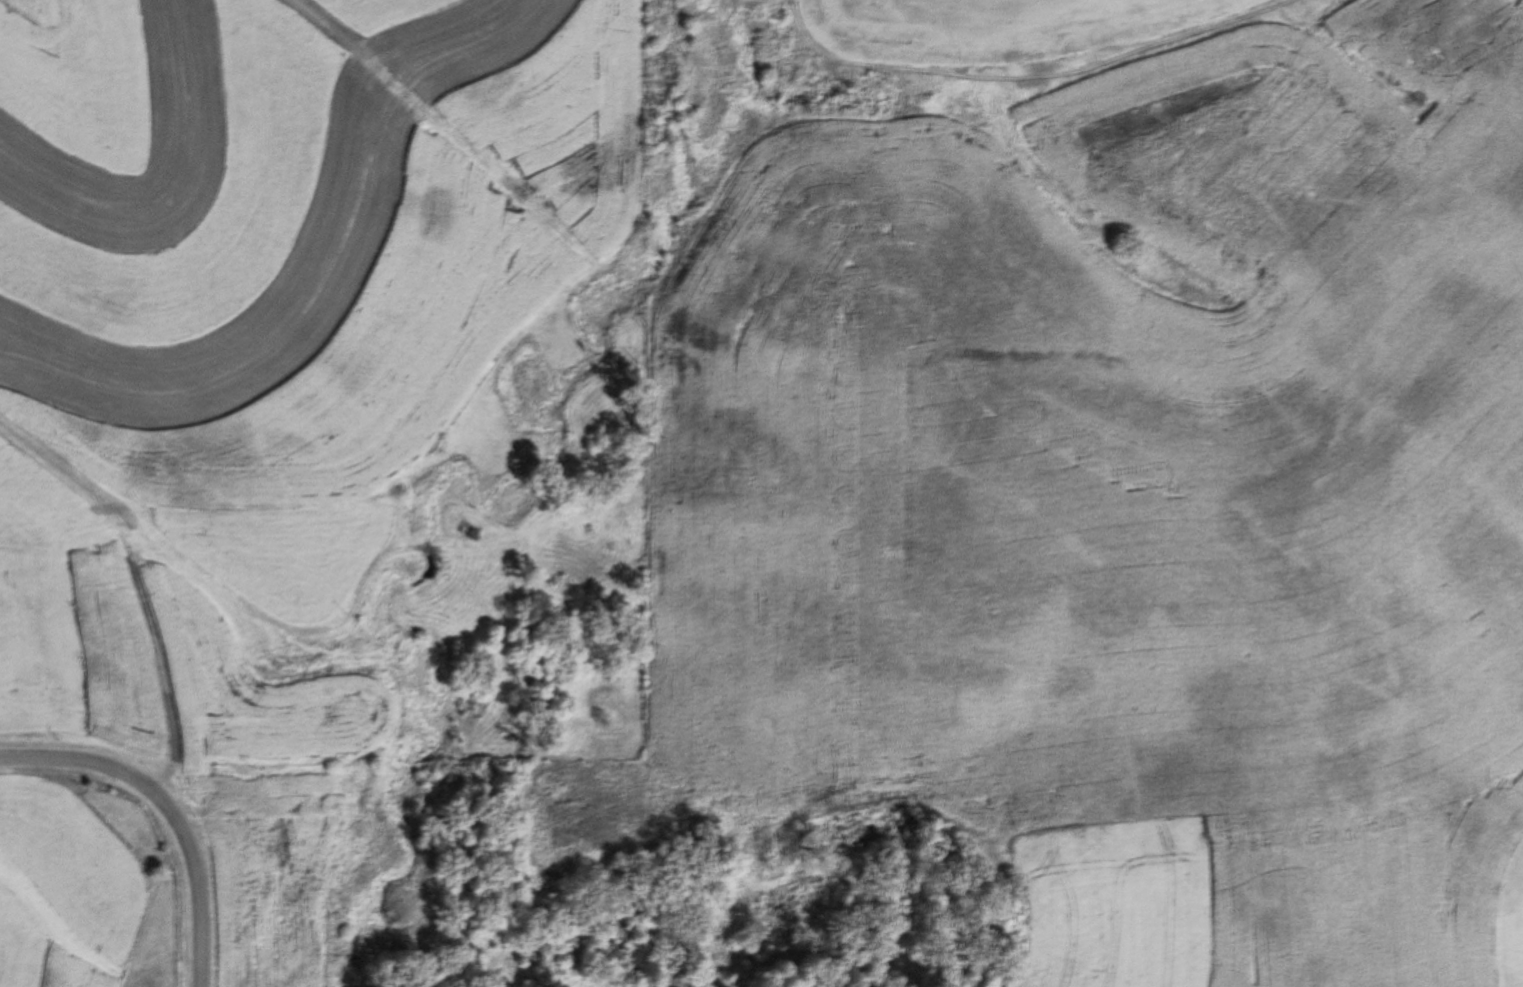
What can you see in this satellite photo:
road: (167, 809)

